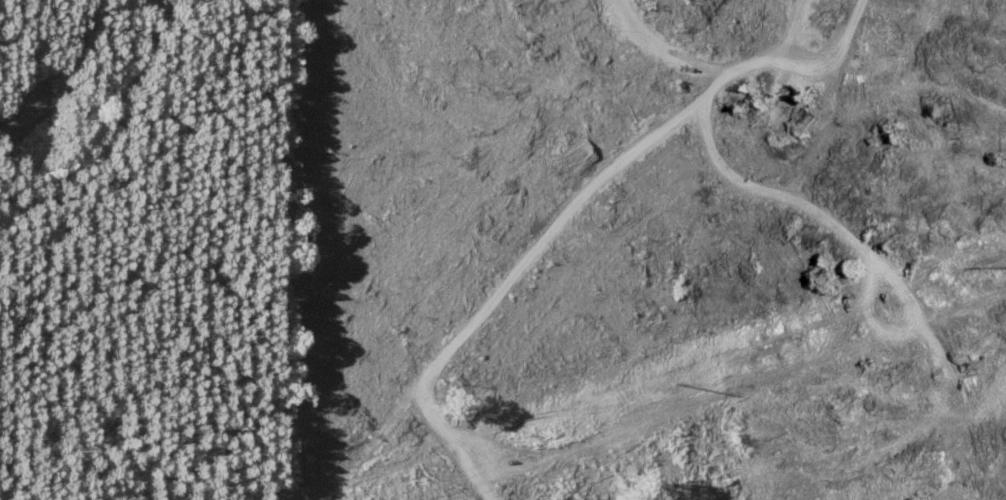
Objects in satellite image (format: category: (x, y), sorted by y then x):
power tower: (1005, 267)
power tower: (676, 382)

